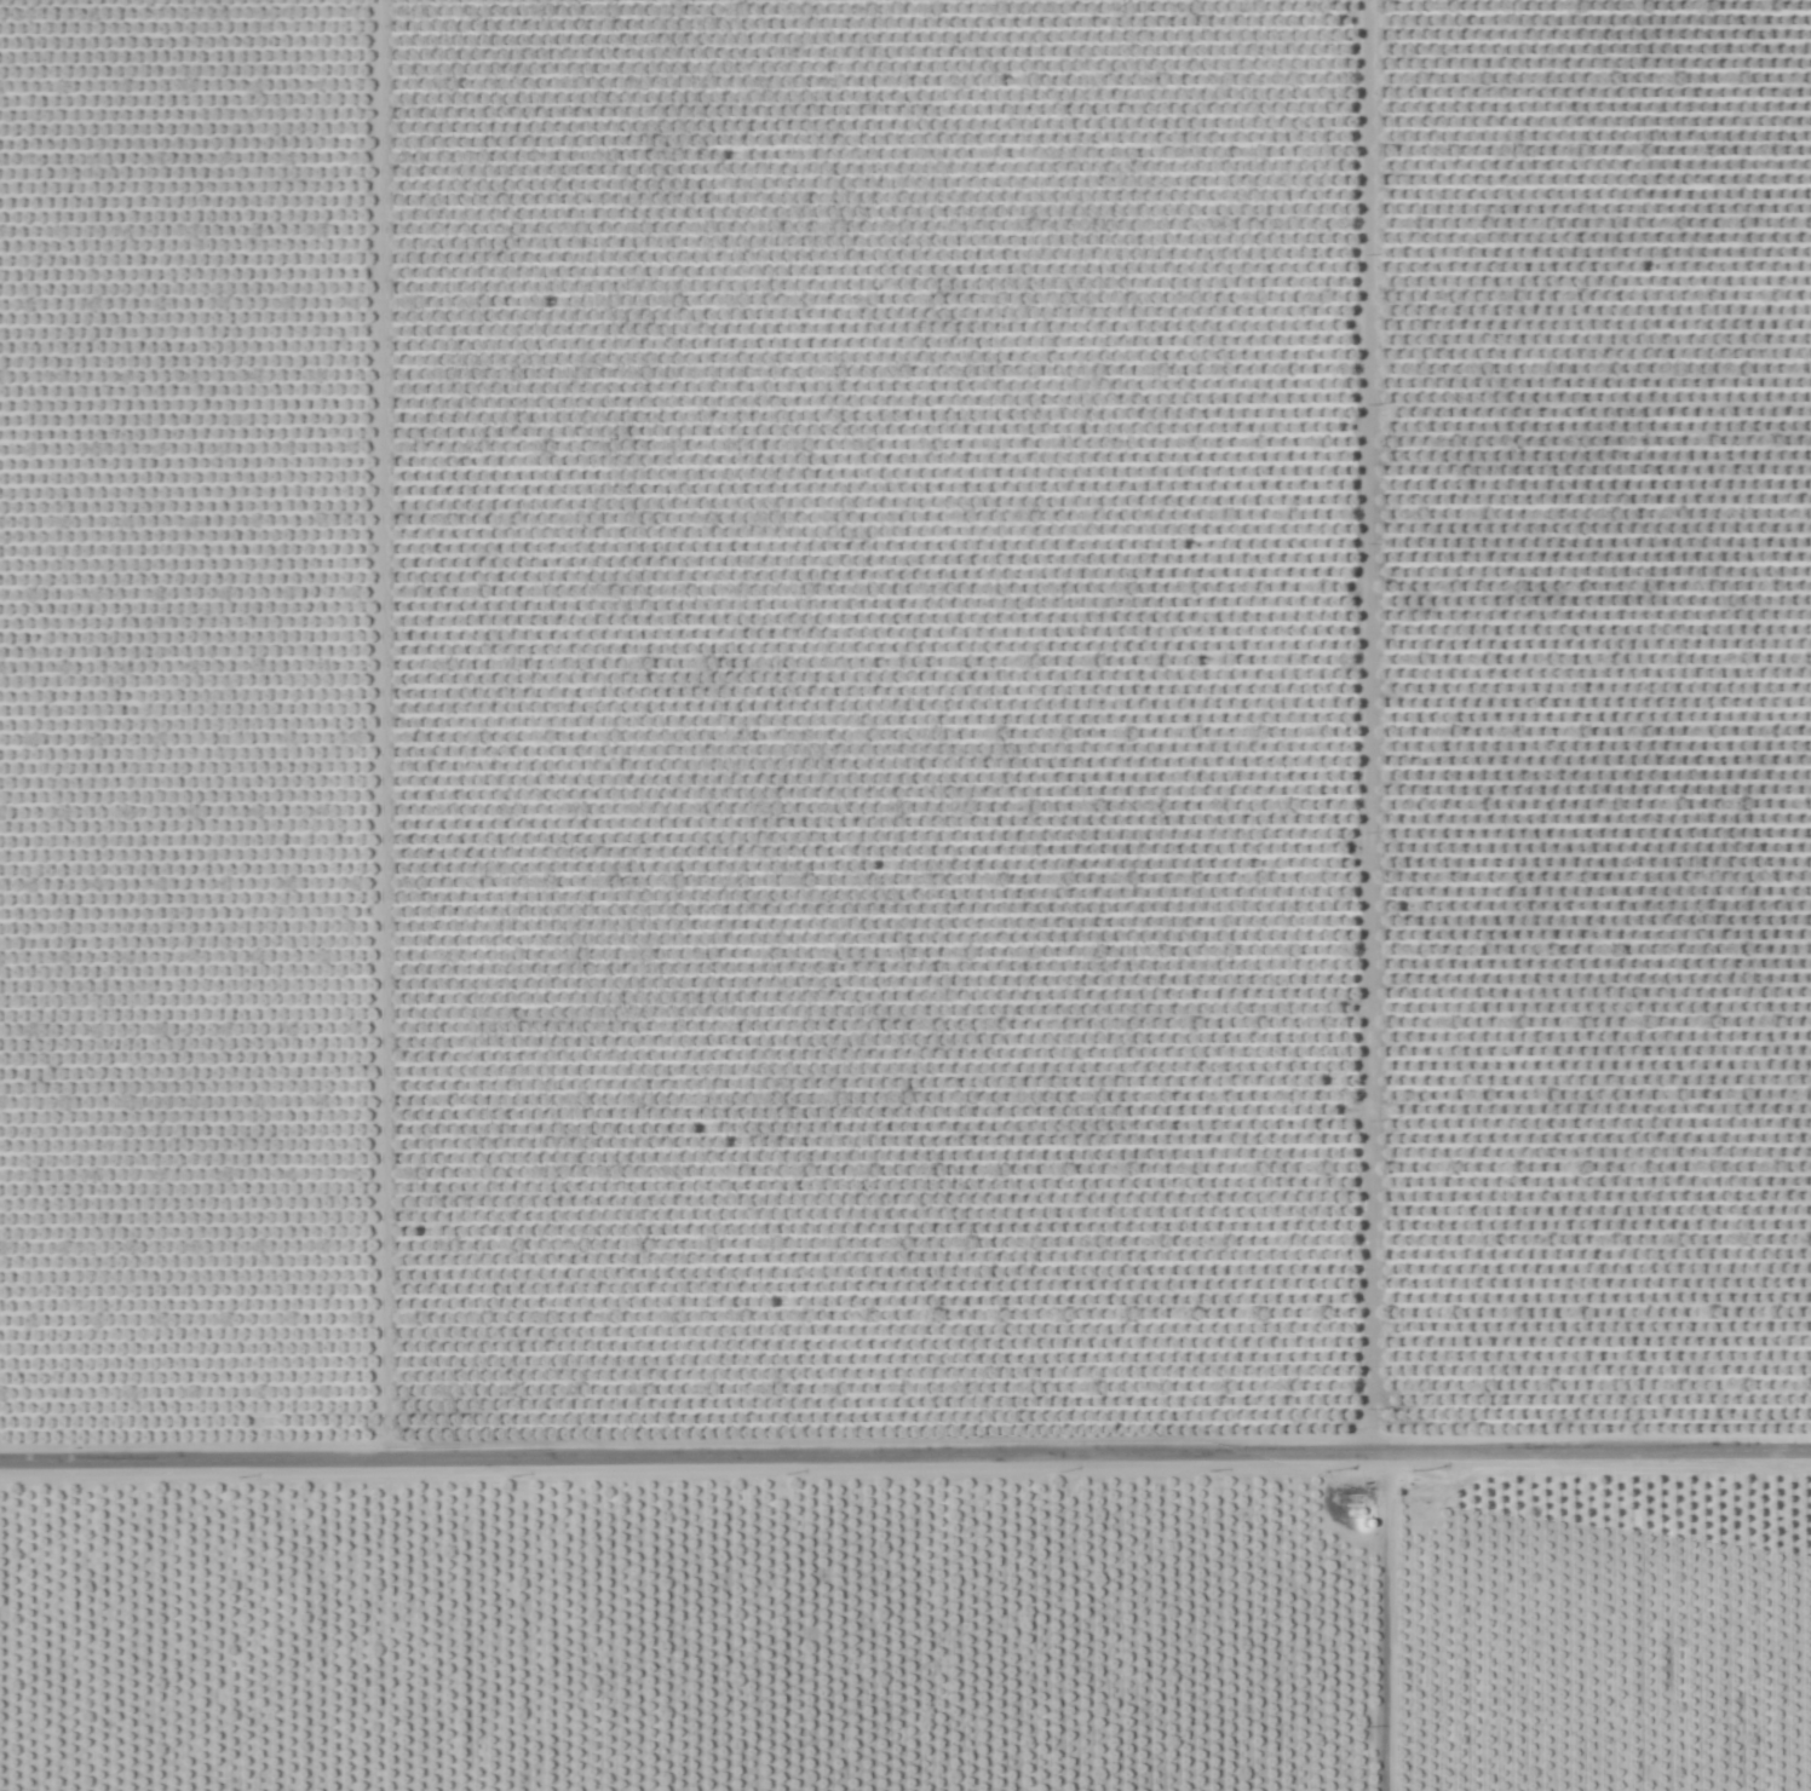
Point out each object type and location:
crop: (874, 862)
road: (905, 1470)

